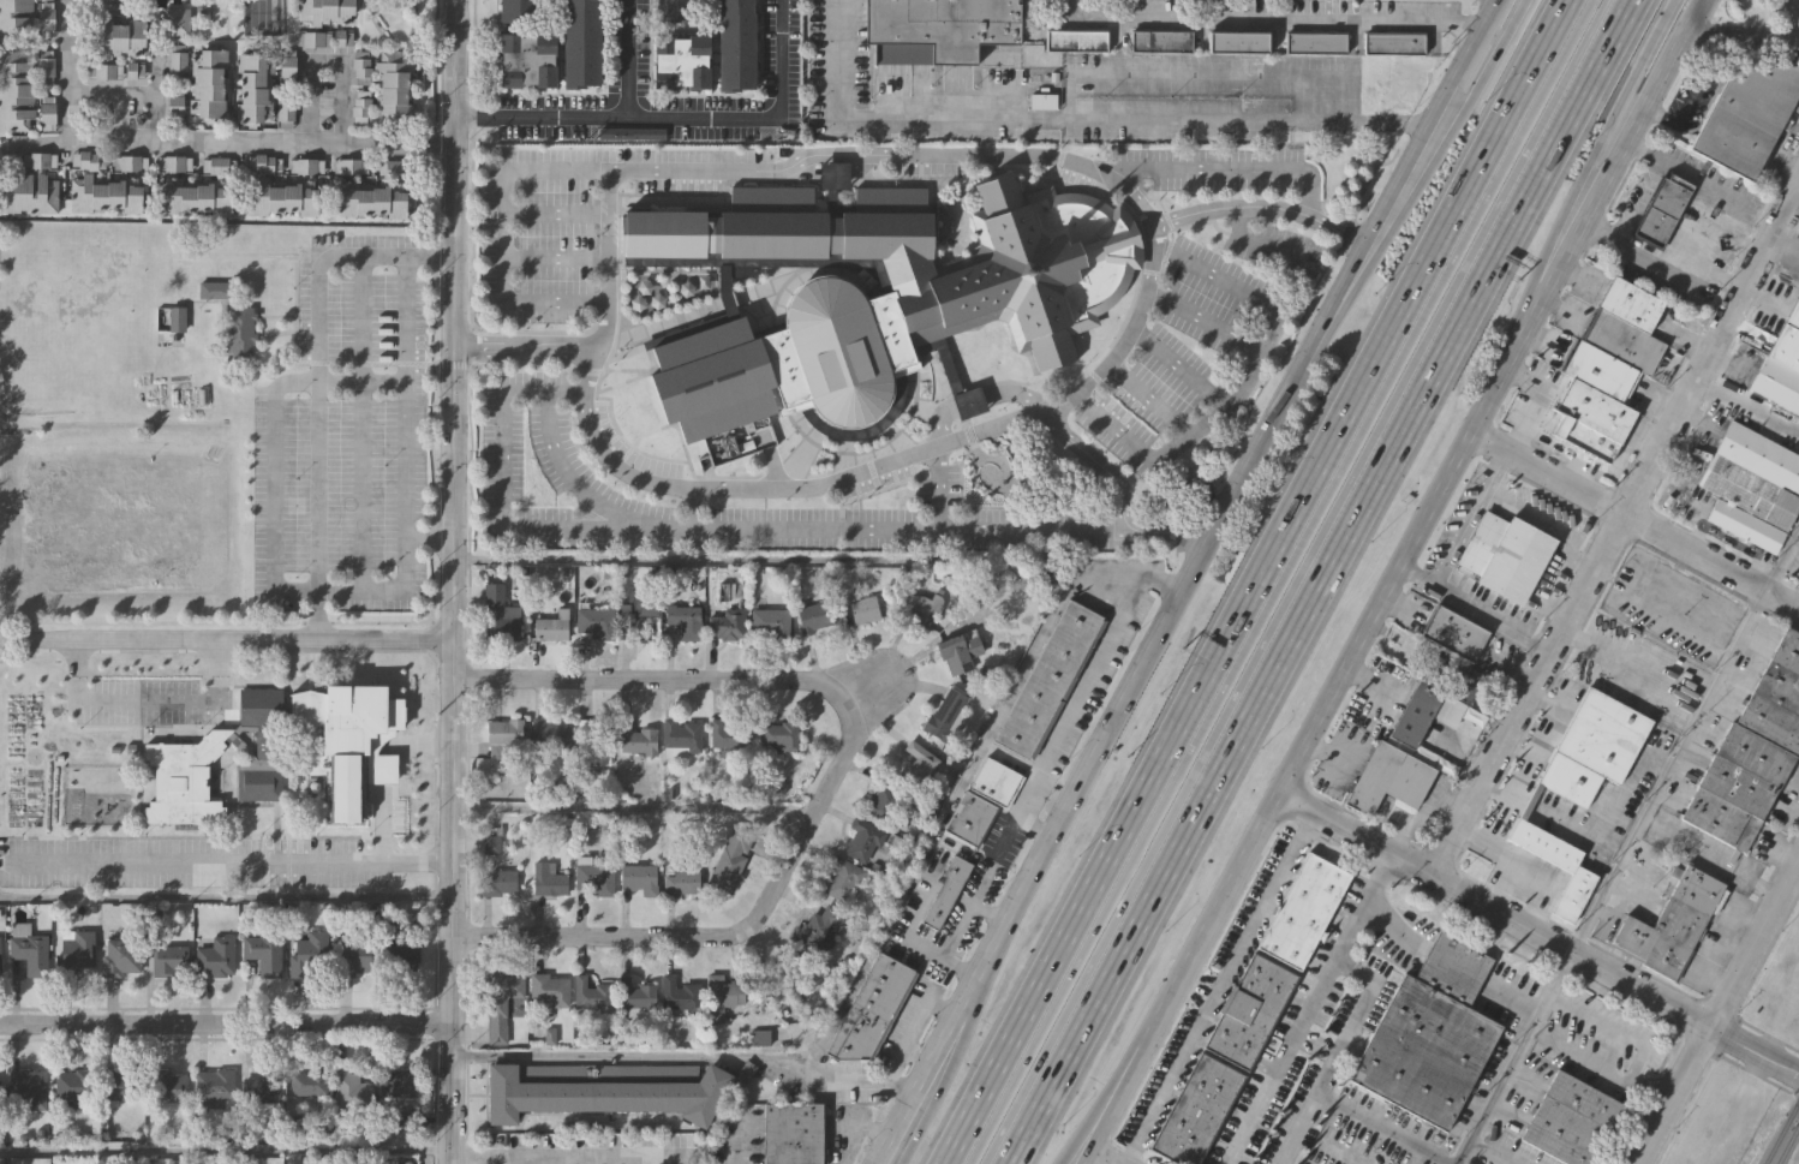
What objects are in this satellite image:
building: (121, 0)
building: (515, 8)
building: (327, 11)
building: (673, 11)
building: (13, 17)
building: (43, 18)
parking lot: (43, 18)
road: (1797, 19)
road: (1266, 20)
building: (174, 22)
building: (937, 29)
building: (116, 37)
road: (1749, 37)
building: (312, 38)
parking lot: (312, 38)
building: (1077, 41)
building: (1163, 41)
building: (1239, 42)
building: (1315, 42)
building: (582, 43)
building: (1394, 43)
building: (737, 46)
road: (1498, 46)
building: (174, 60)
parking lot: (174, 60)
road: (324, 60)
building: (522, 61)
building: (681, 62)
building: (44, 66)
parking lot: (44, 66)
building: (288, 67)
parking lot: (288, 67)
building: (361, 67)
parking lot: (361, 67)
building: (106, 71)
parking lot: (106, 71)
road: (1185, 76)
road: (1630, 78)
building: (207, 84)
building: (256, 89)
building: (394, 89)
building: (14, 90)
road: (130, 90)
road: (1695, 91)
building: (172, 106)
parking lot: (172, 106)
building: (361, 107)
parking lot: (361, 107)
building: (286, 112)
parking lot: (286, 112)
building: (47, 113)
parking lot: (47, 113)
road: (540, 114)
building: (1749, 114)
road: (705, 117)
road: (1071, 117)
building: (632, 132)
road: (189, 139)
road: (1632, 142)
road: (1781, 145)
road: (913, 154)
building: (41, 160)
building: (89, 161)
parking lot: (89, 161)
building: (131, 162)
parking lot: (131, 162)
building: (175, 162)
parking lot: (175, 162)
building: (263, 163)
parking lot: (263, 163)
building: (217, 165)
parking lot: (217, 165)
building: (306, 166)
parking lot: (306, 166)
building: (349, 166)
parking lot: (349, 166)
road: (1401, 166)
road: (1225, 167)
building: (394, 168)
parking lot: (394, 168)
road: (1687, 172)
building: (835, 175)
building: (29, 193)
building: (108, 193)
building: (195, 196)
building: (282, 196)
building: (373, 198)
building: (1524, 199)
road: (1259, 207)
building: (1662, 208)
road: (556, 213)
road: (1393, 213)
road: (1567, 221)
building: (829, 227)
road: (506, 231)
building: (667, 235)
road: (1262, 243)
road: (257, 253)
road: (556, 257)
road: (1661, 268)
building: (1027, 270)
building: (214, 289)
building: (1632, 305)
road: (1205, 317)
building: (175, 322)
building: (239, 333)
building: (1625, 342)
road: (520, 348)
building: (836, 350)
road: (1507, 358)
building: (1780, 364)
road: (1178, 365)
building: (1600, 372)
building: (713, 380)
road: (361, 384)
road: (1244, 386)
road: (277, 388)
road: (1148, 399)
building: (969, 401)
building: (1586, 419)
road: (361, 424)
parking lot: (345, 434)
road: (402, 465)
road: (574, 478)
building: (1753, 485)
road: (318, 488)
road: (939, 488)
road: (770, 489)
road: (1118, 497)
road: (1634, 517)
road: (1472, 519)
road: (1553, 524)
road: (706, 527)
road: (1618, 531)
road: (424, 536)
building: (1505, 554)
road: (446, 581)
road: (1256, 581)
road: (1279, 581)
road: (1291, 581)
road: (1320, 581)
road: (1632, 585)
road: (1547, 591)
building: (638, 605)
building: (921, 607)
building: (861, 608)
road: (1475, 609)
building: (500, 614)
building: (814, 616)
building: (594, 619)
building: (685, 620)
building: (770, 625)
building: (552, 626)
building: (727, 626)
building: (1454, 631)
road: (222, 639)
building: (955, 652)
road: (1023, 659)
road: (1140, 677)
building: (1051, 679)
building: (1468, 684)
road: (1081, 690)
road: (145, 700)
building: (309, 706)
building: (1424, 711)
building: (945, 714)
building: (363, 729)
building: (550, 733)
building: (779, 733)
building: (730, 734)
road: (423, 735)
building: (682, 735)
building: (503, 736)
building: (636, 739)
road: (1544, 739)
building: (592, 741)
road: (1305, 748)
building: (183, 750)
road: (1519, 750)
building: (1751, 751)
building: (916, 766)
road: (832, 775)
building: (1388, 777)
building: (996, 780)
building: (340, 783)
building: (1577, 784)
road: (1495, 794)
road: (1519, 800)
building: (881, 801)
road: (949, 801)
road: (1526, 804)
road: (629, 808)
road: (1608, 817)
building: (969, 818)
road: (1359, 829)
road: (1474, 836)
building: (865, 837)
road: (1630, 846)
building: (731, 858)
road: (229, 861)
road: (1517, 861)
building: (596, 877)
building: (639, 877)
building: (842, 877)
building: (549, 879)
road: (1500, 879)
building: (500, 882)
building: (681, 882)
building: (948, 890)
road: (222, 899)
road: (1364, 903)
building: (1304, 907)
building: (1670, 923)
building: (818, 929)
road: (958, 933)
building: (29, 949)
road: (866, 949)
building: (76, 953)
building: (262, 953)
building: (309, 953)
building: (0, 957)
building: (120, 957)
building: (215, 957)
building: (355, 957)
building: (402, 957)
building: (167, 960)
road: (1344, 962)
road: (1615, 972)
road: (1221, 984)
building: (550, 989)
building: (593, 995)
building: (681, 995)
building: (636, 996)
building: (723, 996)
building: (503, 1002)
building: (1250, 1008)
building: (872, 1010)
road: (1717, 1010)
road: (222, 1017)
road: (1614, 1029)
building: (1428, 1033)
road: (904, 1039)
road: (931, 1053)
road: (668, 1055)
road: (939, 1061)
road: (1600, 1067)
building: (213, 1082)
building: (119, 1084)
building: (311, 1084)
building: (402, 1084)
building: (261, 1085)
building: (72, 1086)
building: (165, 1086)
building: (28, 1087)
building: (604, 1090)
building: (0, 1091)
building: (353, 1092)
building: (1197, 1110)
road: (1108, 1112)
road: (1100, 1114)
building: (1568, 1118)
road: (892, 1128)
road: (862, 1129)
railway: (1781, 1132)
building: (790, 1133)
road: (1393, 1134)
road: (913, 1136)
railway: (1788, 1144)
road: (735, 1145)
road: (1325, 1147)
road: (1494, 1152)
road: (221, 1153)
road: (470, 1153)
road: (590, 1157)
road: (1094, 1159)

